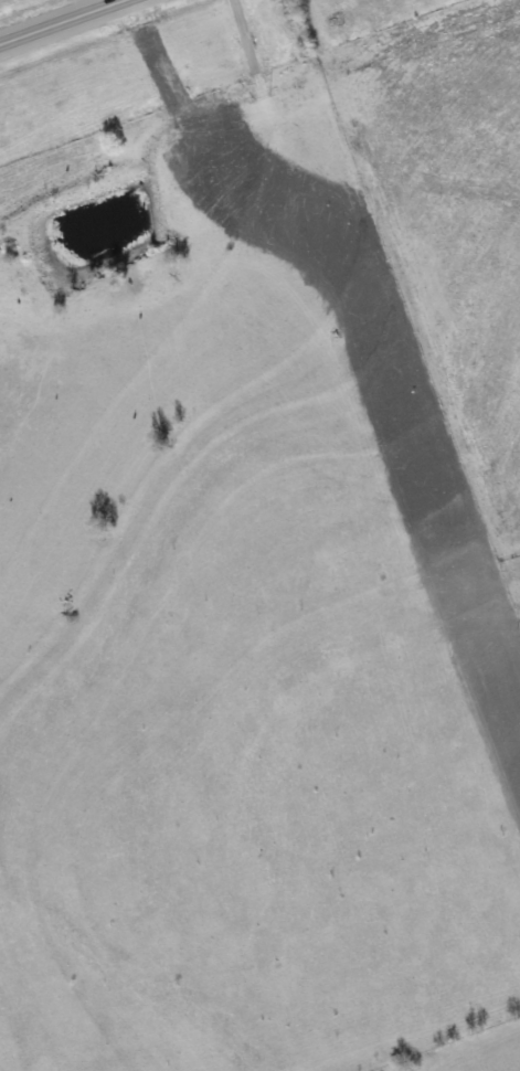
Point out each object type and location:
road: (57, 20)

